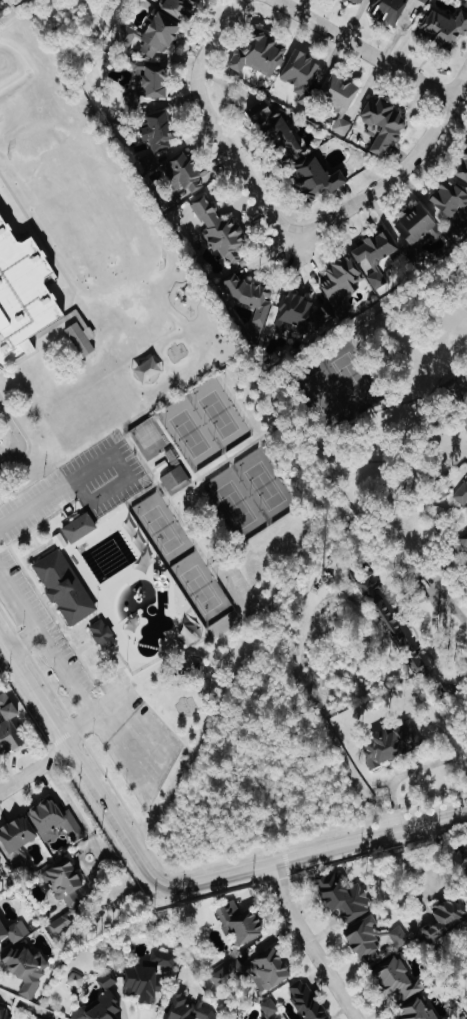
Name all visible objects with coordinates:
building: (359, 1)
building: (425, 1)
building: (180, 7)
building: (389, 10)
building: (444, 27)
building: (153, 36)
road: (363, 49)
building: (260, 56)
building: (303, 73)
building: (153, 79)
road: (458, 84)
building: (341, 94)
building: (133, 103)
building: (385, 124)
building: (161, 131)
building: (279, 133)
building: (466, 143)
building: (463, 170)
building: (186, 173)
building: (318, 178)
building: (451, 198)
road: (273, 218)
building: (222, 231)
building: (376, 256)
building: (342, 284)
building: (22, 295)
building: (251, 297)
building: (302, 315)
building: (82, 339)
road: (17, 441)
building: (177, 480)
road: (52, 494)
building: (462, 495)
building: (81, 528)
building: (463, 540)
building: (66, 587)
road: (447, 602)
road: (28, 616)
building: (391, 625)
building: (104, 634)
building: (425, 664)
road: (458, 686)
road: (79, 689)
road: (318, 717)
building: (9, 727)
building: (388, 742)
road: (448, 742)
road: (34, 769)
road: (399, 775)
building: (55, 821)
building: (18, 836)
building: (1, 863)
road: (400, 877)
building: (65, 882)
road: (171, 885)
building: (1, 889)
building: (345, 897)
building: (65, 921)
building: (445, 921)
building: (241, 924)
building: (13, 931)
building: (399, 937)
building: (365, 938)
road: (309, 943)
building: (168, 960)
building: (27, 969)
building: (257, 972)
building: (76, 980)
building: (107, 980)
building: (398, 980)
building: (145, 984)
building: (308, 1000)
building: (101, 1008)
building: (270, 1008)
building: (5, 1014)

